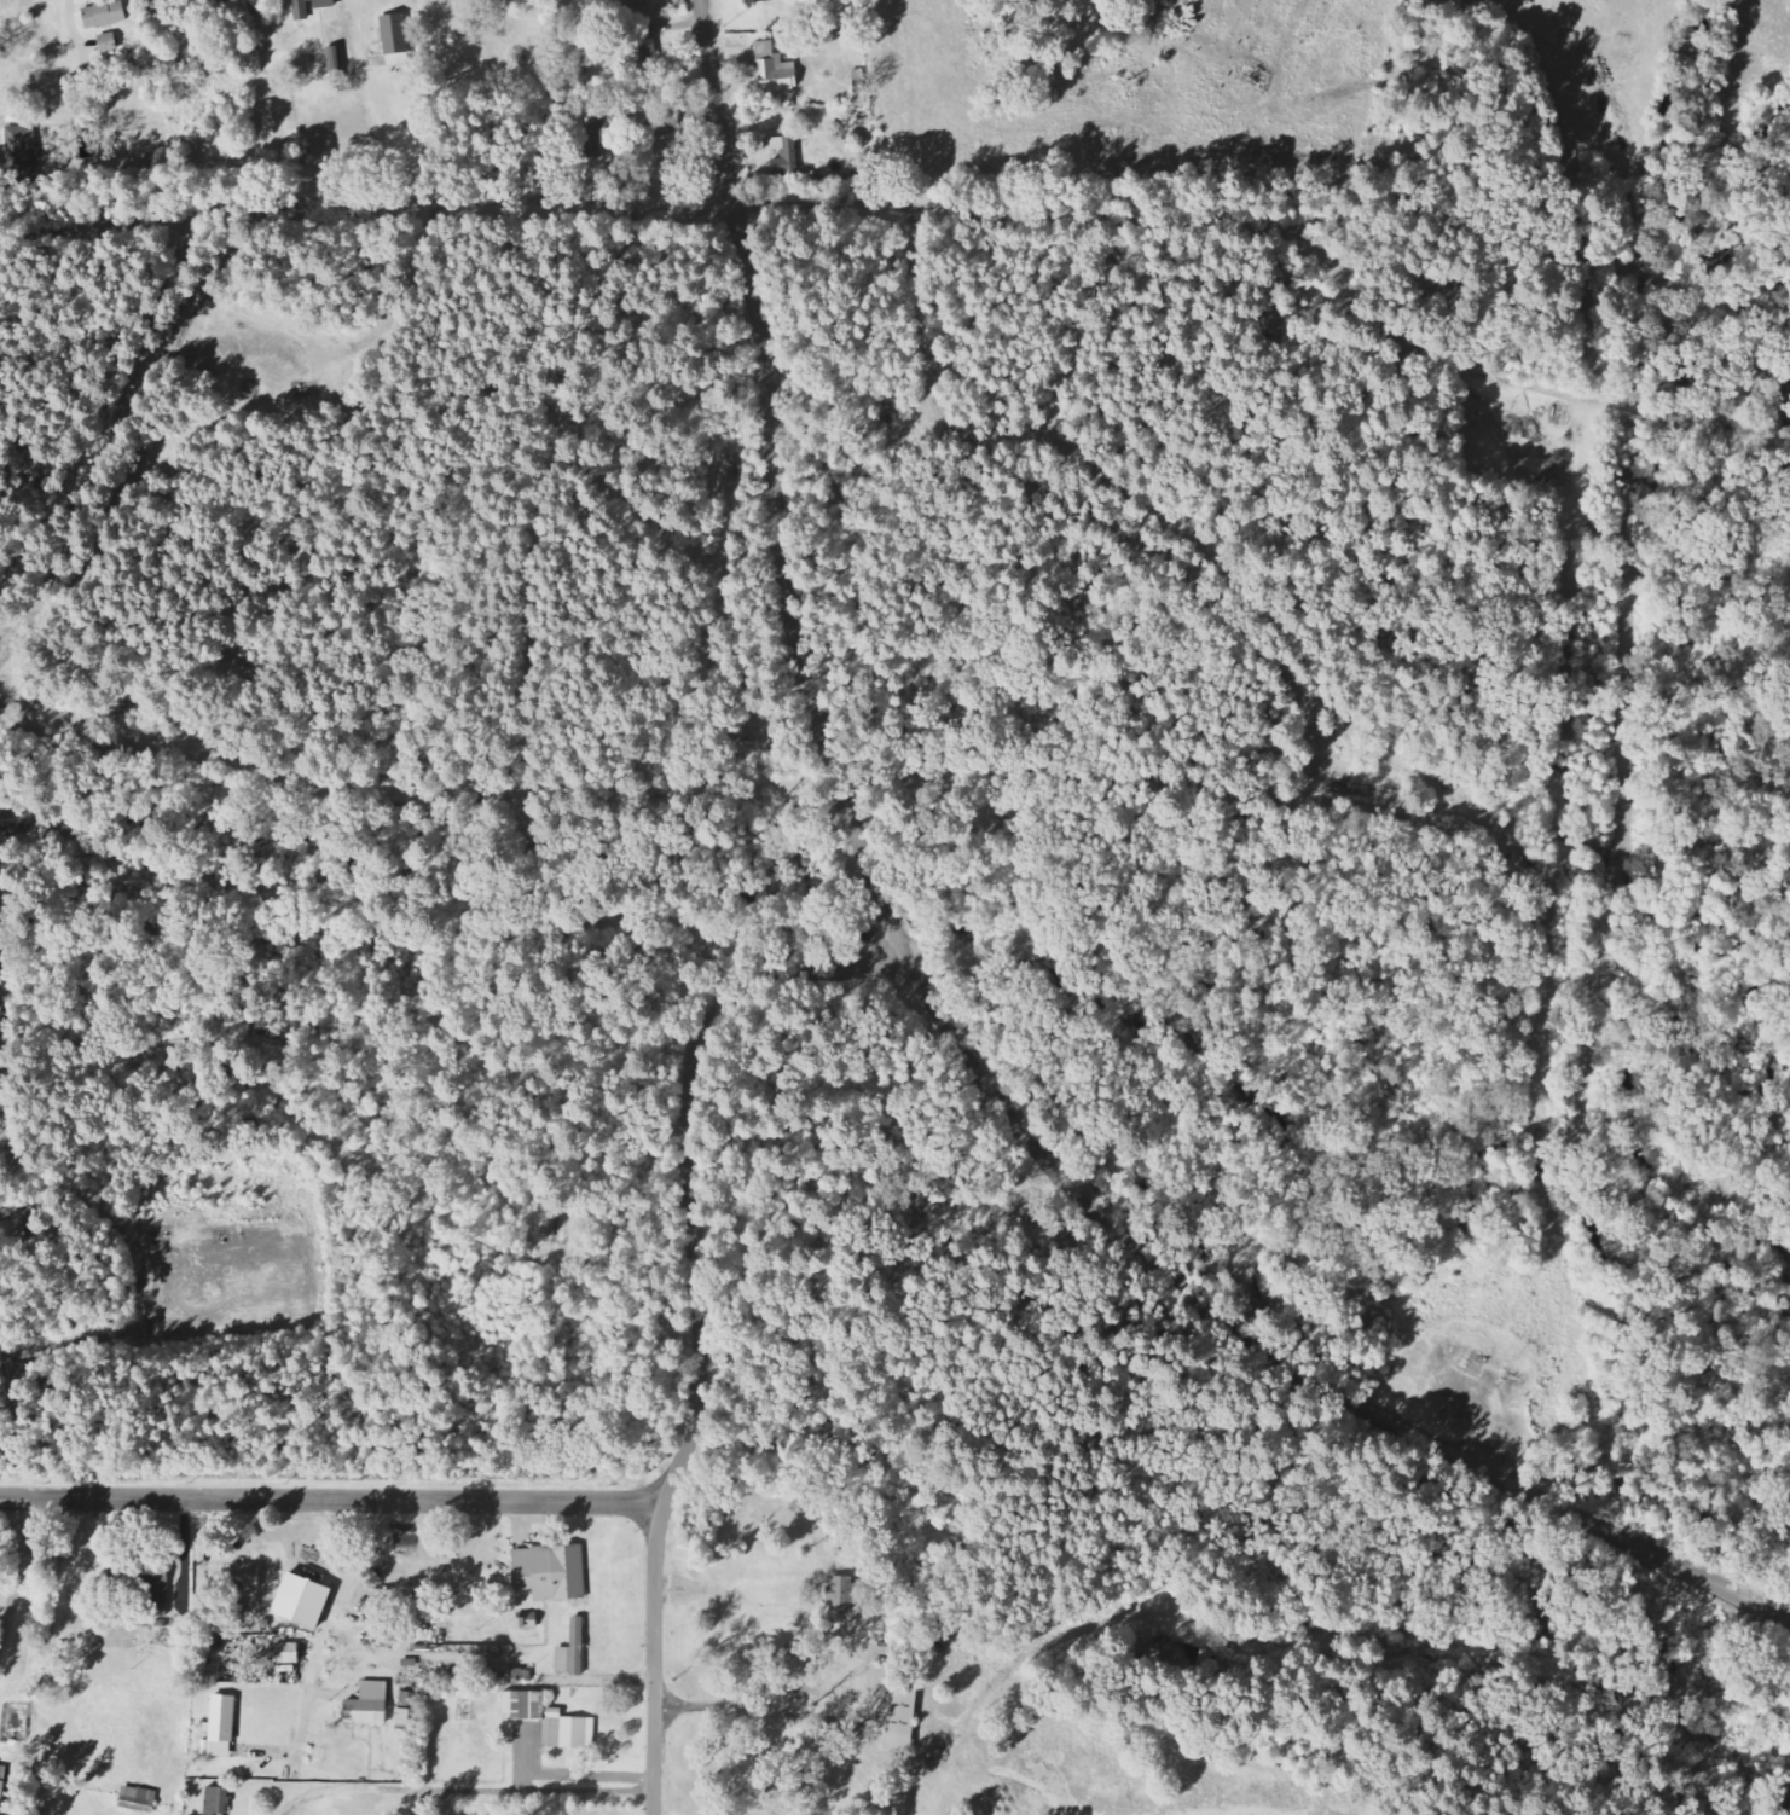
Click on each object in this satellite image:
building: (755, 1)
building: (638, 5)
building: (311, 7)
building: (105, 16)
building: (395, 41)
building: (109, 44)
building: (644, 45)
building: (775, 71)
building: (862, 95)
building: (662, 126)
building: (22, 153)
building: (610, 155)
building: (786, 155)
road: (822, 204)
road: (939, 1025)
road: (695, 1312)
road: (331, 1500)
road: (22, 1570)
building: (551, 1572)
building: (247, 1577)
building: (841, 1594)
building: (303, 1601)
road: (325, 1624)
park: (17, 1648)
building: (573, 1652)
road: (868, 1700)
building: (369, 1705)
building: (903, 1715)
building: (551, 1721)
building: (220, 1728)
building: (2, 1786)
road: (465, 1790)
building: (139, 1800)
building: (218, 1800)

